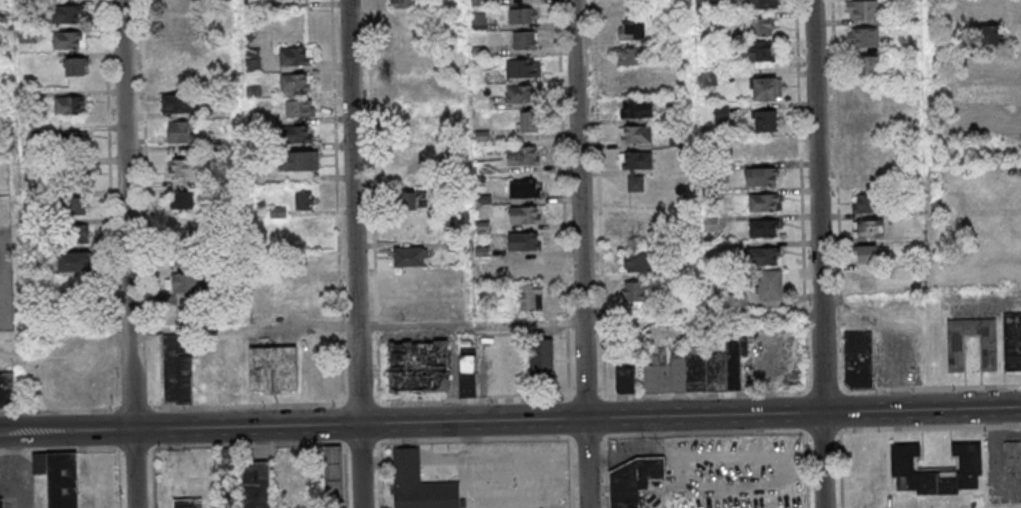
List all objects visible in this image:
building: (402, 4)
building: (763, 4)
building: (171, 6)
building: (863, 9)
building: (991, 10)
building: (67, 14)
building: (522, 15)
building: (177, 26)
building: (759, 27)
building: (634, 30)
building: (987, 35)
building: (863, 37)
building: (525, 39)
building: (69, 40)
building: (757, 51)
building: (295, 56)
building: (631, 56)
building: (253, 60)
building: (403, 62)
building: (869, 64)
building: (988, 64)
building: (75, 66)
building: (522, 68)
building: (177, 77)
building: (296, 82)
building: (634, 82)
building: (767, 89)
building: (521, 93)
building: (986, 94)
building: (177, 103)
building: (69, 105)
building: (300, 109)
building: (634, 109)
building: (406, 118)
building: (984, 118)
building: (765, 120)
building: (863, 121)
building: (529, 122)
building: (180, 132)
building: (298, 135)
building: (635, 135)
building: (71, 142)
building: (760, 150)
building: (522, 155)
building: (299, 160)
building: (636, 161)
building: (183, 168)
building: (761, 175)
building: (635, 183)
building: (524, 189)
road: (563, 199)
building: (184, 200)
building: (304, 200)
building: (409, 200)
building: (73, 201)
road: (373, 201)
building: (762, 201)
building: (867, 204)
building: (522, 214)
building: (638, 224)
building: (763, 228)
building: (184, 229)
building: (868, 229)
building: (75, 233)
building: (524, 241)
road: (127, 254)
road: (354, 254)
road: (580, 254)
road: (819, 254)
building: (866, 254)
building: (766, 255)
building: (410, 256)
building: (180, 259)
building: (75, 262)
building: (636, 262)
building: (527, 266)
building: (413, 281)
parking lot: (5, 282)
building: (866, 283)
building: (183, 285)
building: (770, 285)
building: (74, 292)
building: (634, 295)
building: (531, 297)
building: (412, 307)
road: (588, 322)
road: (297, 328)
building: (1012, 342)
building: (989, 353)
building: (541, 358)
building: (859, 360)
building: (418, 366)
building: (274, 370)
building: (699, 370)
building: (177, 372)
road: (454, 373)
building: (467, 376)
building: (626, 378)
building: (7, 391)
road: (510, 400)
road: (577, 419)
road: (66, 431)
road: (689, 436)
road: (302, 444)
building: (1012, 455)
building: (195, 464)
building: (936, 471)
building: (60, 477)
building: (631, 481)
building: (420, 484)
building: (256, 485)
building: (1, 503)
building: (188, 504)

